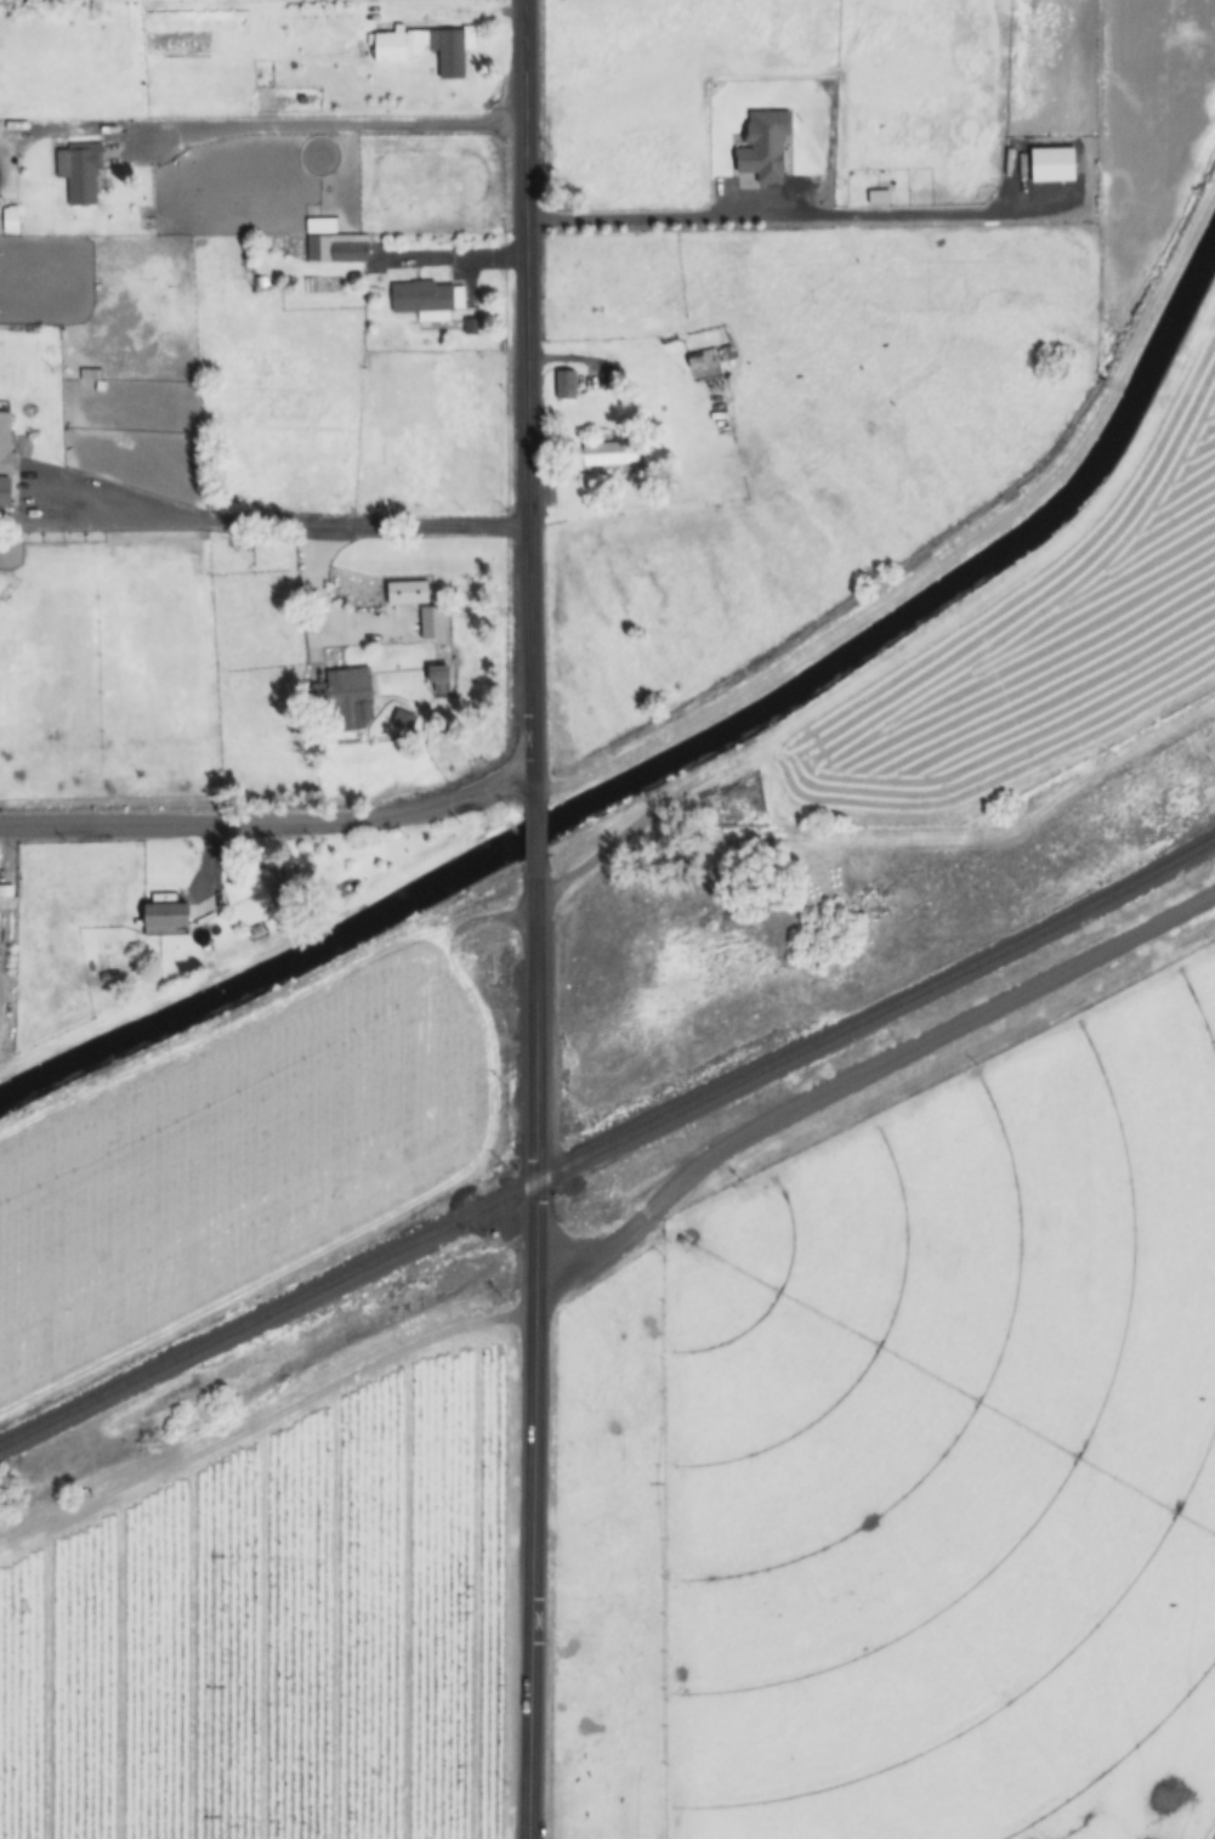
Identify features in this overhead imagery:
building: (425, 47)
crop: (1148, 134)
building: (765, 147)
building: (1050, 164)
building: (75, 171)
building: (331, 243)
building: (426, 300)
building: (709, 360)
building: (564, 385)
road: (527, 402)
building: (609, 454)
building: (5, 457)
building: (405, 593)
building: (431, 622)
building: (345, 702)
building: (402, 720)
road: (269, 820)
road: (533, 839)
road: (952, 843)
road: (595, 855)
building: (283, 885)
building: (165, 916)
road: (862, 1086)
railway: (608, 1144)
crop: (239, 1156)
road: (533, 1357)

